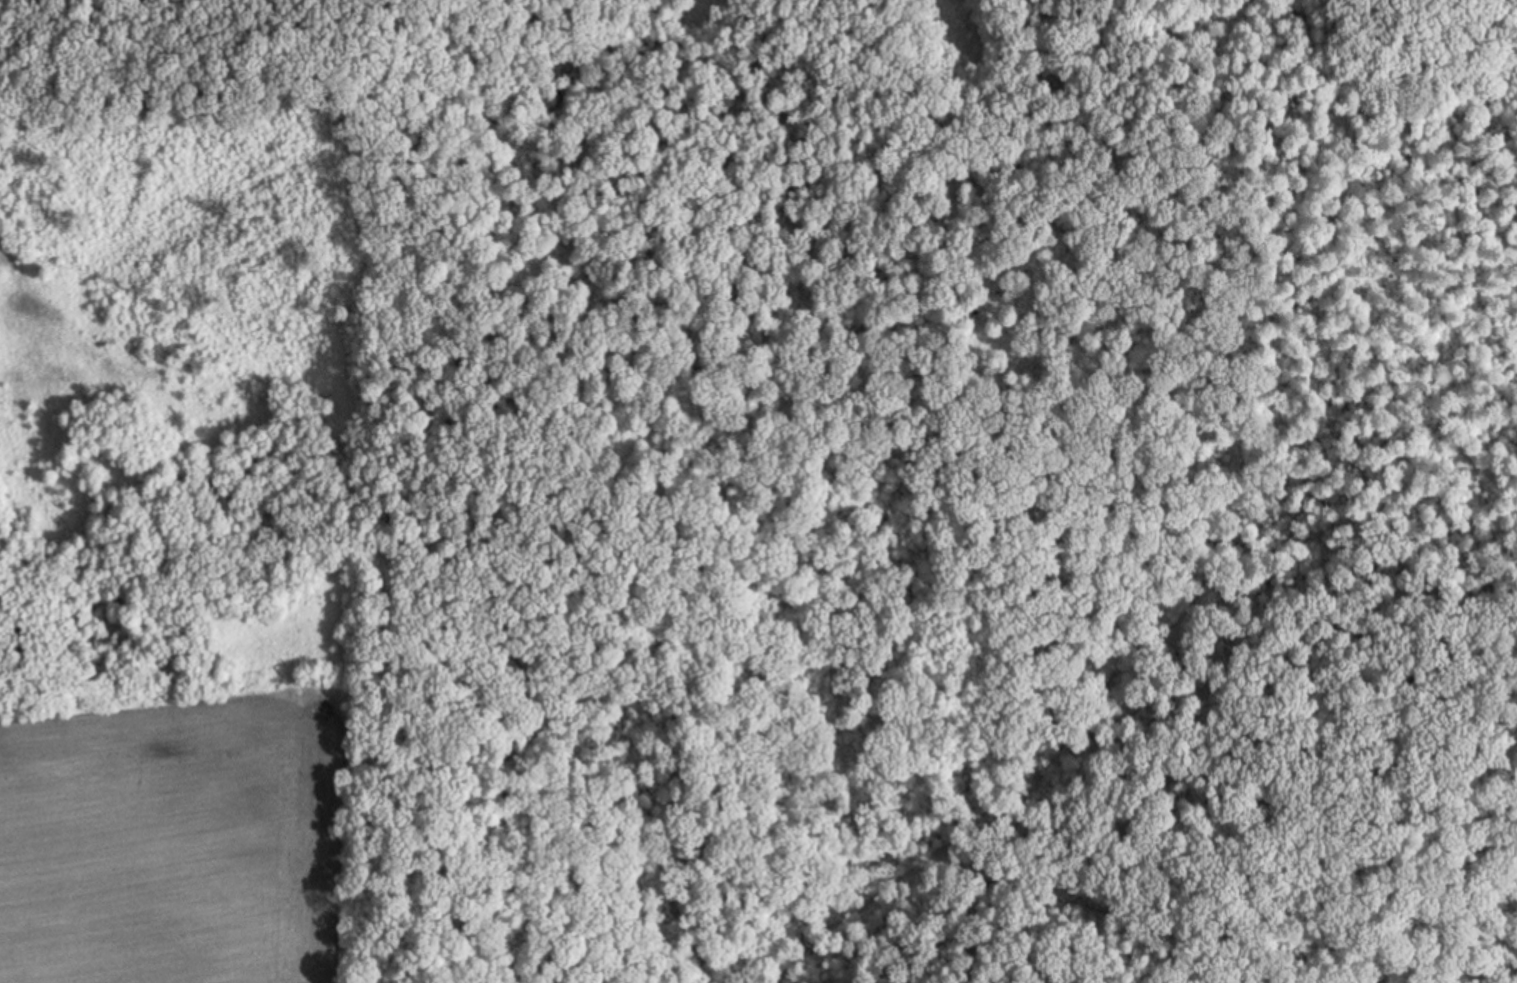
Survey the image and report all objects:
crop: (188, 839)

